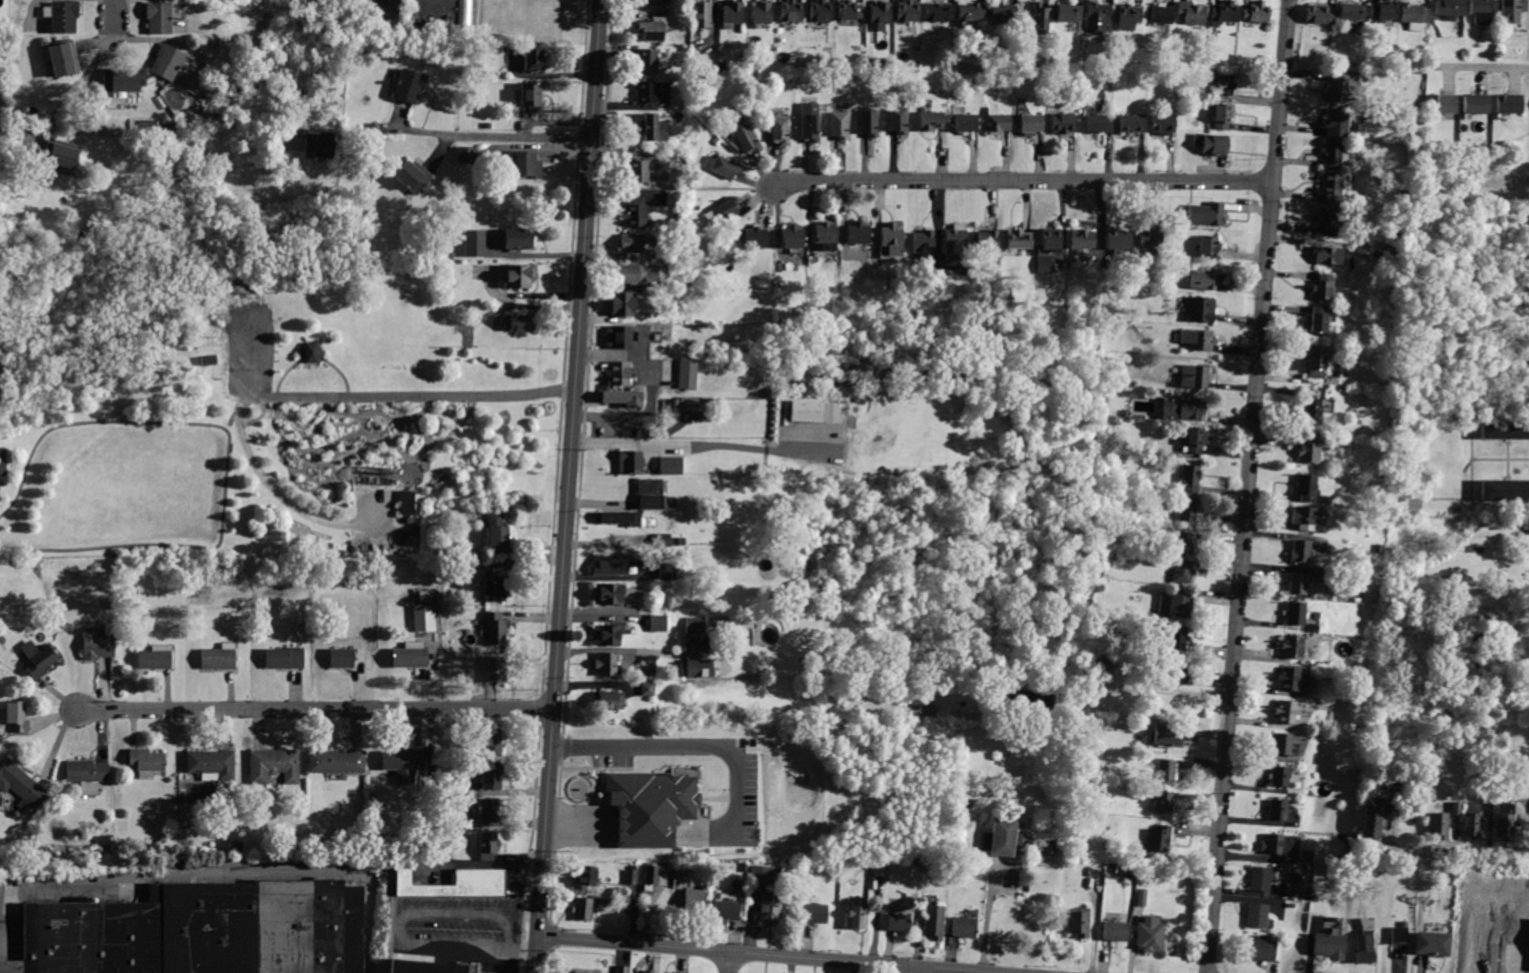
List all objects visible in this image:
building: (656, 1)
building: (1449, 10)
building: (1512, 10)
building: (791, 11)
building: (820, 11)
building: (849, 11)
building: (908, 11)
building: (938, 12)
building: (1225, 12)
building: (1256, 12)
building: (1351, 12)
building: (1382, 12)
building: (1413, 12)
building: (1481, 12)
building: (880, 13)
building: (1192, 13)
building: (424, 14)
building: (731, 14)
building: (760, 14)
building: (969, 14)
building: (1067, 14)
building: (1161, 14)
building: (1318, 14)
building: (465, 15)
building: (701, 15)
building: (1003, 15)
building: (62, 17)
road: (113, 17)
building: (159, 17)
building: (1128, 17)
building: (1098, 18)
building: (1038, 20)
building: (651, 31)
building: (484, 50)
building: (60, 58)
building: (534, 60)
building: (646, 61)
building: (167, 62)
building: (905, 65)
road: (266, 68)
road: (1480, 68)
building: (120, 81)
building: (1174, 83)
building: (1, 84)
building: (409, 85)
building: (1224, 87)
road: (76, 88)
building: (1338, 88)
building: (647, 92)
building: (531, 95)
building: (1442, 104)
building: (1475, 104)
building: (1508, 104)
building: (1420, 107)
building: (1222, 116)
building: (898, 118)
building: (931, 121)
building: (809, 122)
building: (869, 122)
building: (997, 122)
building: (966, 123)
building: (1063, 123)
building: (1336, 123)
building: (1031, 124)
building: (1098, 124)
building: (1131, 124)
building: (1163, 124)
building: (839, 126)
building: (171, 127)
building: (369, 128)
building: (653, 128)
building: (780, 128)
building: (1412, 129)
road: (487, 132)
building: (743, 132)
building: (1212, 144)
building: (319, 145)
road: (537, 146)
building: (733, 147)
building: (60, 154)
building: (467, 155)
building: (1334, 155)
building: (527, 164)
building: (722, 166)
building: (1410, 168)
building: (638, 172)
building: (413, 177)
road: (1025, 182)
building: (1332, 187)
building: (634, 212)
building: (723, 212)
building: (1205, 214)
building: (1328, 222)
building: (858, 233)
building: (791, 236)
building: (826, 236)
building: (755, 237)
building: (893, 238)
building: (1149, 238)
building: (518, 239)
building: (922, 239)
building: (954, 239)
building: (987, 239)
building: (1018, 239)
building: (1083, 239)
building: (1119, 239)
building: (1051, 240)
building: (686, 241)
building: (1209, 243)
building: (475, 244)
building: (630, 244)
building: (339, 248)
building: (1395, 252)
building: (1328, 256)
building: (1043, 265)
building: (629, 275)
building: (519, 276)
building: (1203, 279)
building: (1323, 287)
building: (452, 290)
building: (1009, 294)
building: (620, 305)
building: (1201, 309)
building: (1321, 318)
building: (519, 323)
building: (619, 337)
building: (1197, 339)
building: (311, 351)
building: (1318, 360)
building: (618, 373)
building: (686, 373)
building: (1195, 376)
building: (671, 380)
road: (289, 398)
building: (621, 398)
park: (248, 403)
building: (1313, 408)
building: (1184, 409)
building: (806, 412)
road: (236, 414)
building: (1505, 429)
building: (1197, 440)
building: (1115, 441)
building: (1308, 449)
road: (230, 454)
building: (3, 462)
building: (629, 463)
building: (670, 466)
building: (374, 473)
building: (1190, 478)
road: (567, 486)
road: (1246, 486)
building: (1306, 488)
building: (1504, 490)
building: (650, 494)
building: (407, 503)
building: (1187, 509)
building: (1305, 518)
building: (619, 519)
building: (1524, 523)
building: (497, 533)
building: (663, 540)
building: (1183, 542)
building: (1378, 549)
building: (1299, 552)
building: (612, 565)
building: (437, 567)
park: (646, 568)
building: (669, 571)
building: (1181, 571)
building: (1296, 583)
building: (495, 590)
building: (607, 593)
building: (1204, 593)
building: (110, 603)
building: (1179, 605)
building: (1294, 613)
building: (425, 618)
building: (720, 622)
building: (658, 624)
building: (695, 626)
building: (496, 628)
building: (608, 635)
building: (1176, 638)
building: (96, 645)
building: (1291, 647)
building: (411, 656)
building: (219, 657)
building: (156, 658)
building: (285, 658)
building: (346, 658)
building: (38, 659)
building: (646, 662)
building: (607, 665)
building: (699, 668)
building: (496, 669)
building: (1170, 674)
building: (1288, 679)
building: (647, 689)
road: (1158, 689)
building: (1524, 694)
building: (1033, 700)
building: (608, 701)
road: (313, 710)
building: (1285, 712)
building: (17, 717)
building: (1166, 735)
building: (491, 743)
building: (1282, 744)
road: (688, 746)
building: (337, 761)
building: (147, 762)
building: (211, 763)
building: (403, 764)
building: (274, 766)
building: (1165, 769)
building: (87, 775)
building: (1280, 775)
building: (491, 776)
building: (1408, 783)
building: (430, 784)
building: (20, 785)
building: (1163, 801)
building: (649, 806)
building: (488, 809)
building: (955, 809)
building: (1278, 809)
building: (1455, 809)
building: (1372, 818)
building: (1472, 820)
building: (1505, 822)
building: (955, 826)
building: (1439, 826)
building: (1002, 837)
building: (1159, 838)
building: (382, 840)
building: (104, 843)
building: (1272, 844)
building: (235, 845)
building: (299, 845)
building: (488, 846)
building: (1307, 856)
road: (1442, 856)
building: (978, 867)
building: (744, 868)
building: (878, 869)
building: (682, 873)
building: (585, 875)
building: (656, 875)
building: (760, 875)
building: (1453, 875)
building: (631, 877)
building: (1259, 879)
building: (454, 885)
building: (1462, 888)
road: (67, 889)
building: (1293, 894)
building: (1141, 898)
building: (692, 904)
building: (1291, 905)
building: (584, 909)
building: (769, 909)
building: (725, 910)
building: (814, 914)
building: (857, 915)
building: (1256, 916)
road: (984, 920)
building: (934, 922)
building: (898, 923)
building: (1079, 923)
road: (400, 927)
building: (964, 927)
building: (201, 931)
building: (1116, 931)
parking lot: (461, 932)
building: (1400, 934)
building: (1149, 935)
building: (1433, 944)
building: (1329, 946)
building: (1364, 948)
building: (1259, 950)
road: (765, 955)
road: (727, 963)
building: (426, 967)
building: (621, 969)
road: (920, 970)
building: (648, 971)
building: (580, 972)
building: (635, 972)
building: (676, 972)

